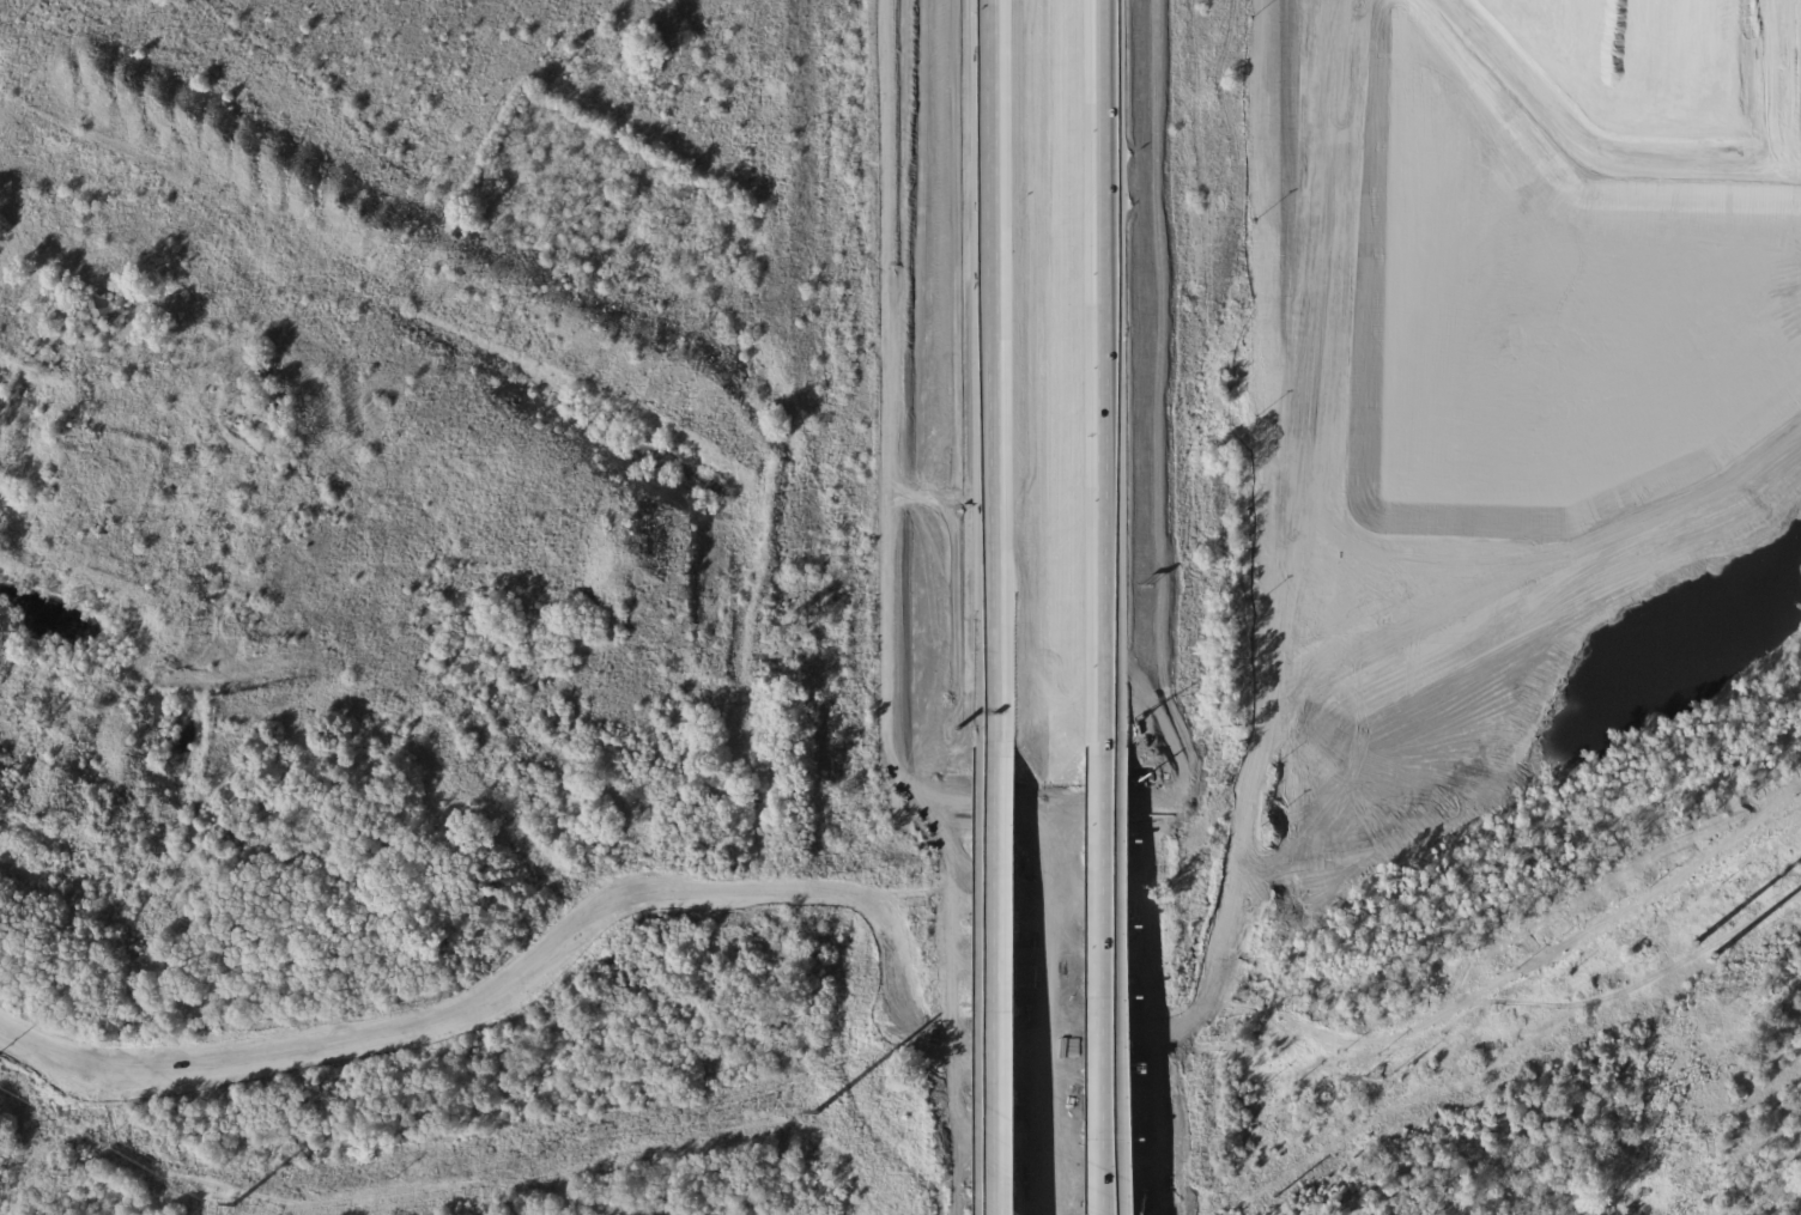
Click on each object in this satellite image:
road: (1281, 8)
road: (1352, 10)
road: (1316, 18)
road: (1370, 31)
road: (1351, 37)
building: (1670, 62)
road: (1553, 158)
building: (103, 310)
road: (1105, 365)
road: (990, 372)
building: (278, 406)
road: (1341, 490)
road: (1381, 561)
road: (1291, 915)
road: (1328, 938)
power tower: (1705, 952)
road: (1109, 973)
road: (993, 979)
road: (1312, 980)
road: (469, 1002)
road: (1056, 1007)
road: (641, 1056)
road: (674, 1104)
power tower: (817, 1119)
power tower: (237, 1207)

